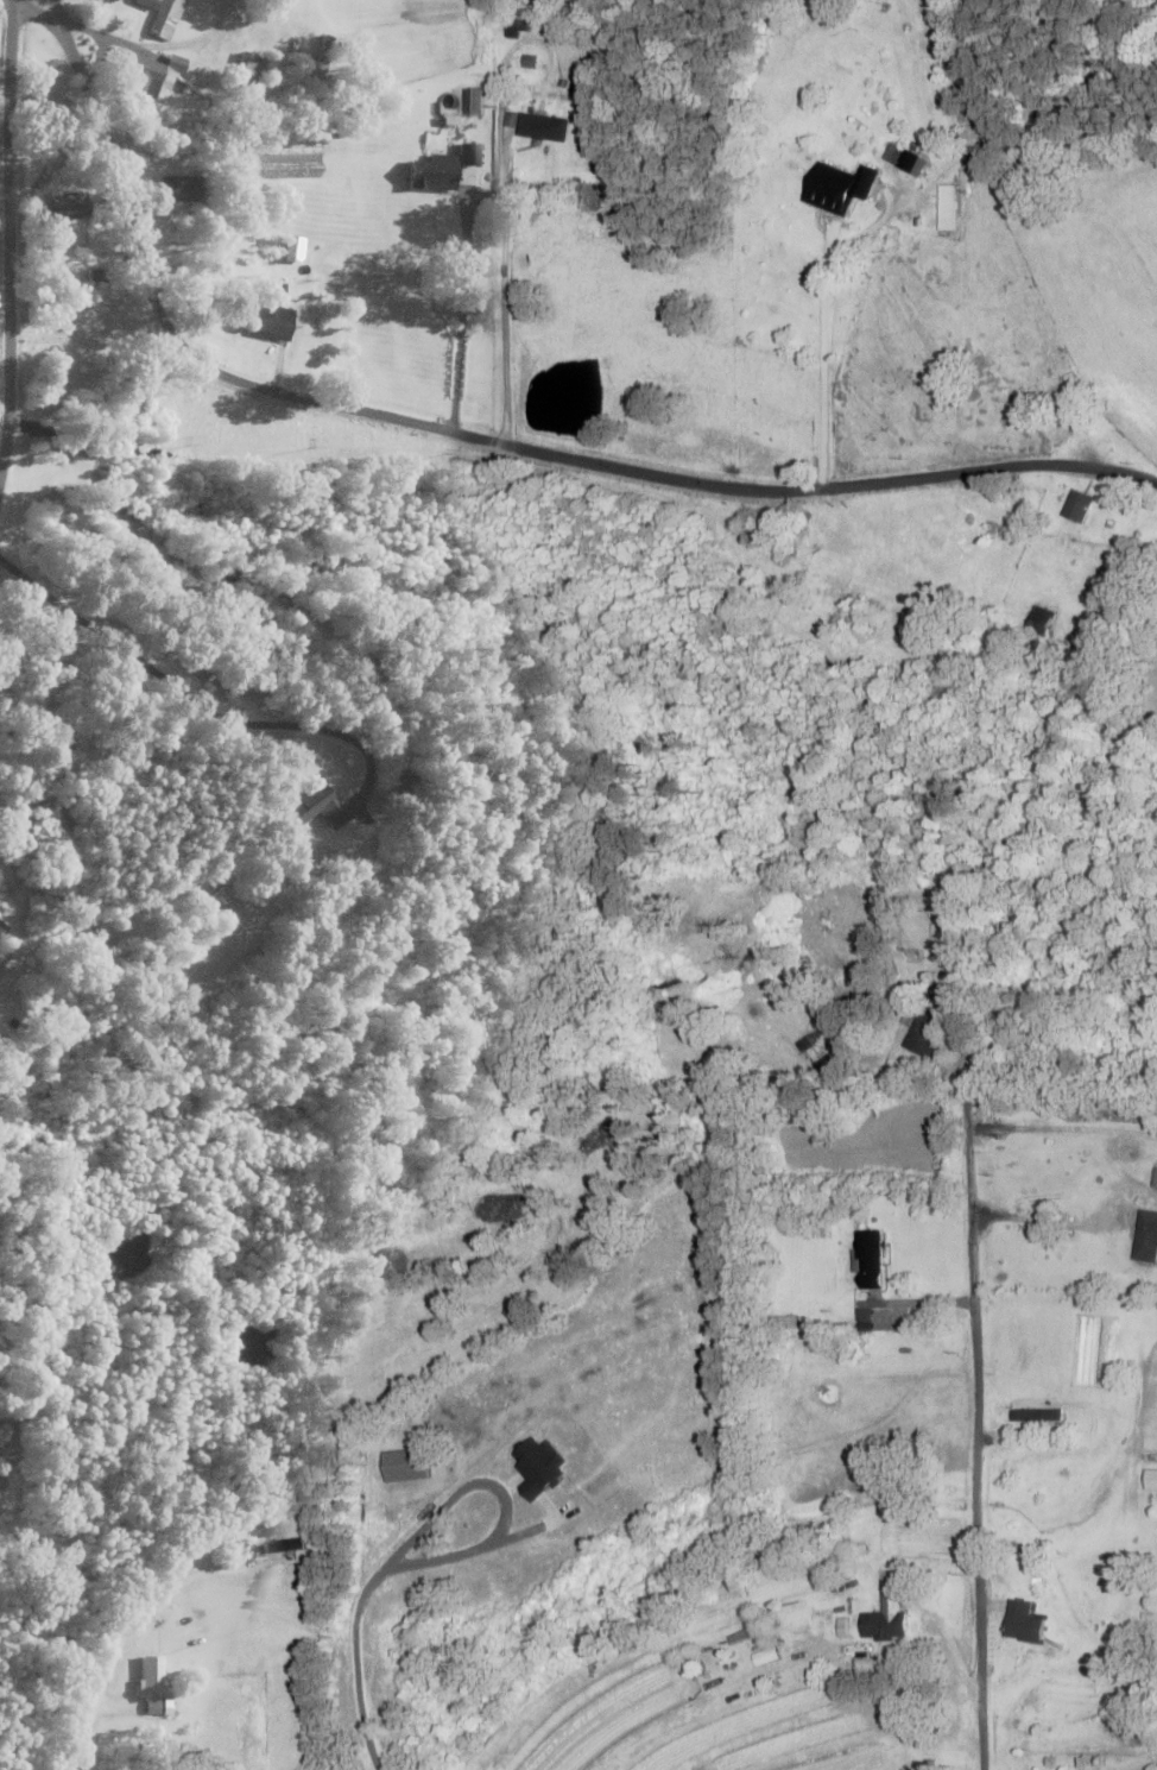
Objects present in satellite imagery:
building: (159, 19)
building: (233, 65)
building: (132, 82)
building: (472, 103)
building: (539, 130)
building: (899, 159)
building: (432, 170)
building: (835, 189)
building: (166, 190)
building: (944, 208)
building: (55, 209)
road: (5, 233)
building: (268, 322)
road: (981, 351)
road: (927, 354)
road: (468, 434)
building: (1075, 506)
building: (1039, 619)
building: (309, 808)
building: (1, 920)
building: (928, 1023)
building: (1155, 1180)
building: (1145, 1239)
building: (867, 1261)
road: (975, 1416)
building: (1149, 1480)
building: (1020, 1624)
building: (880, 1627)
building: (871, 1651)
building: (764, 1658)
building: (141, 1680)

